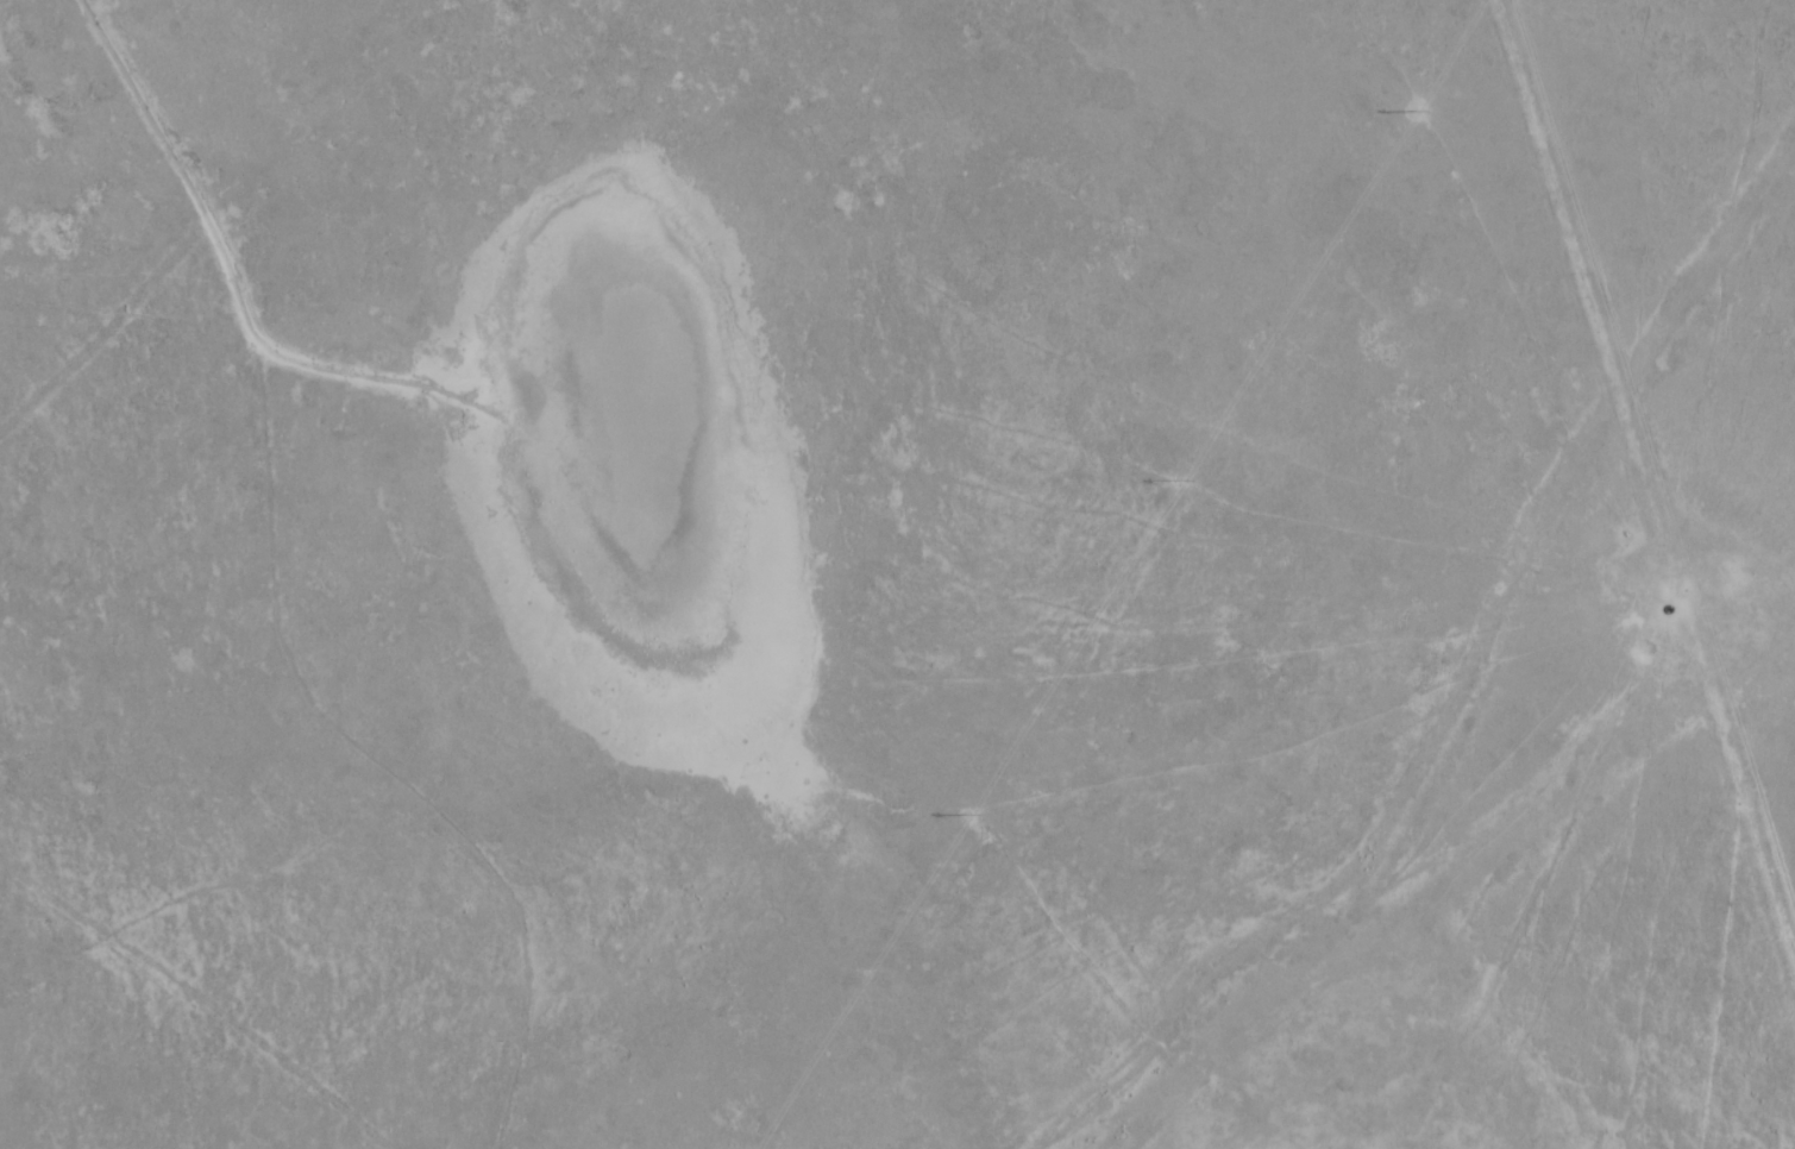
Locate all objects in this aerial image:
road: (1640, 491)
road: (159, 1006)

